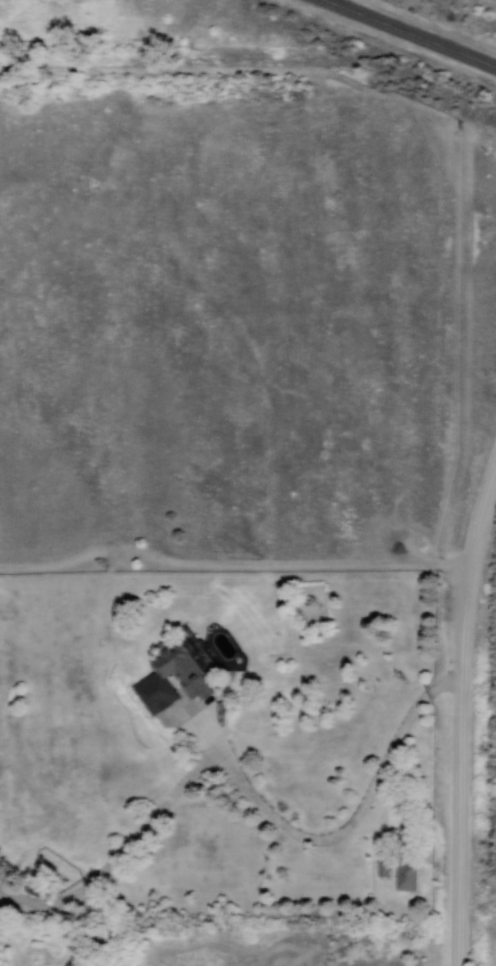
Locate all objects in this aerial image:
road: (495, 0)
park: (439, 22)
road: (411, 33)
road: (478, 539)
building: (153, 680)
road: (248, 787)
road: (459, 789)
building: (405, 874)

